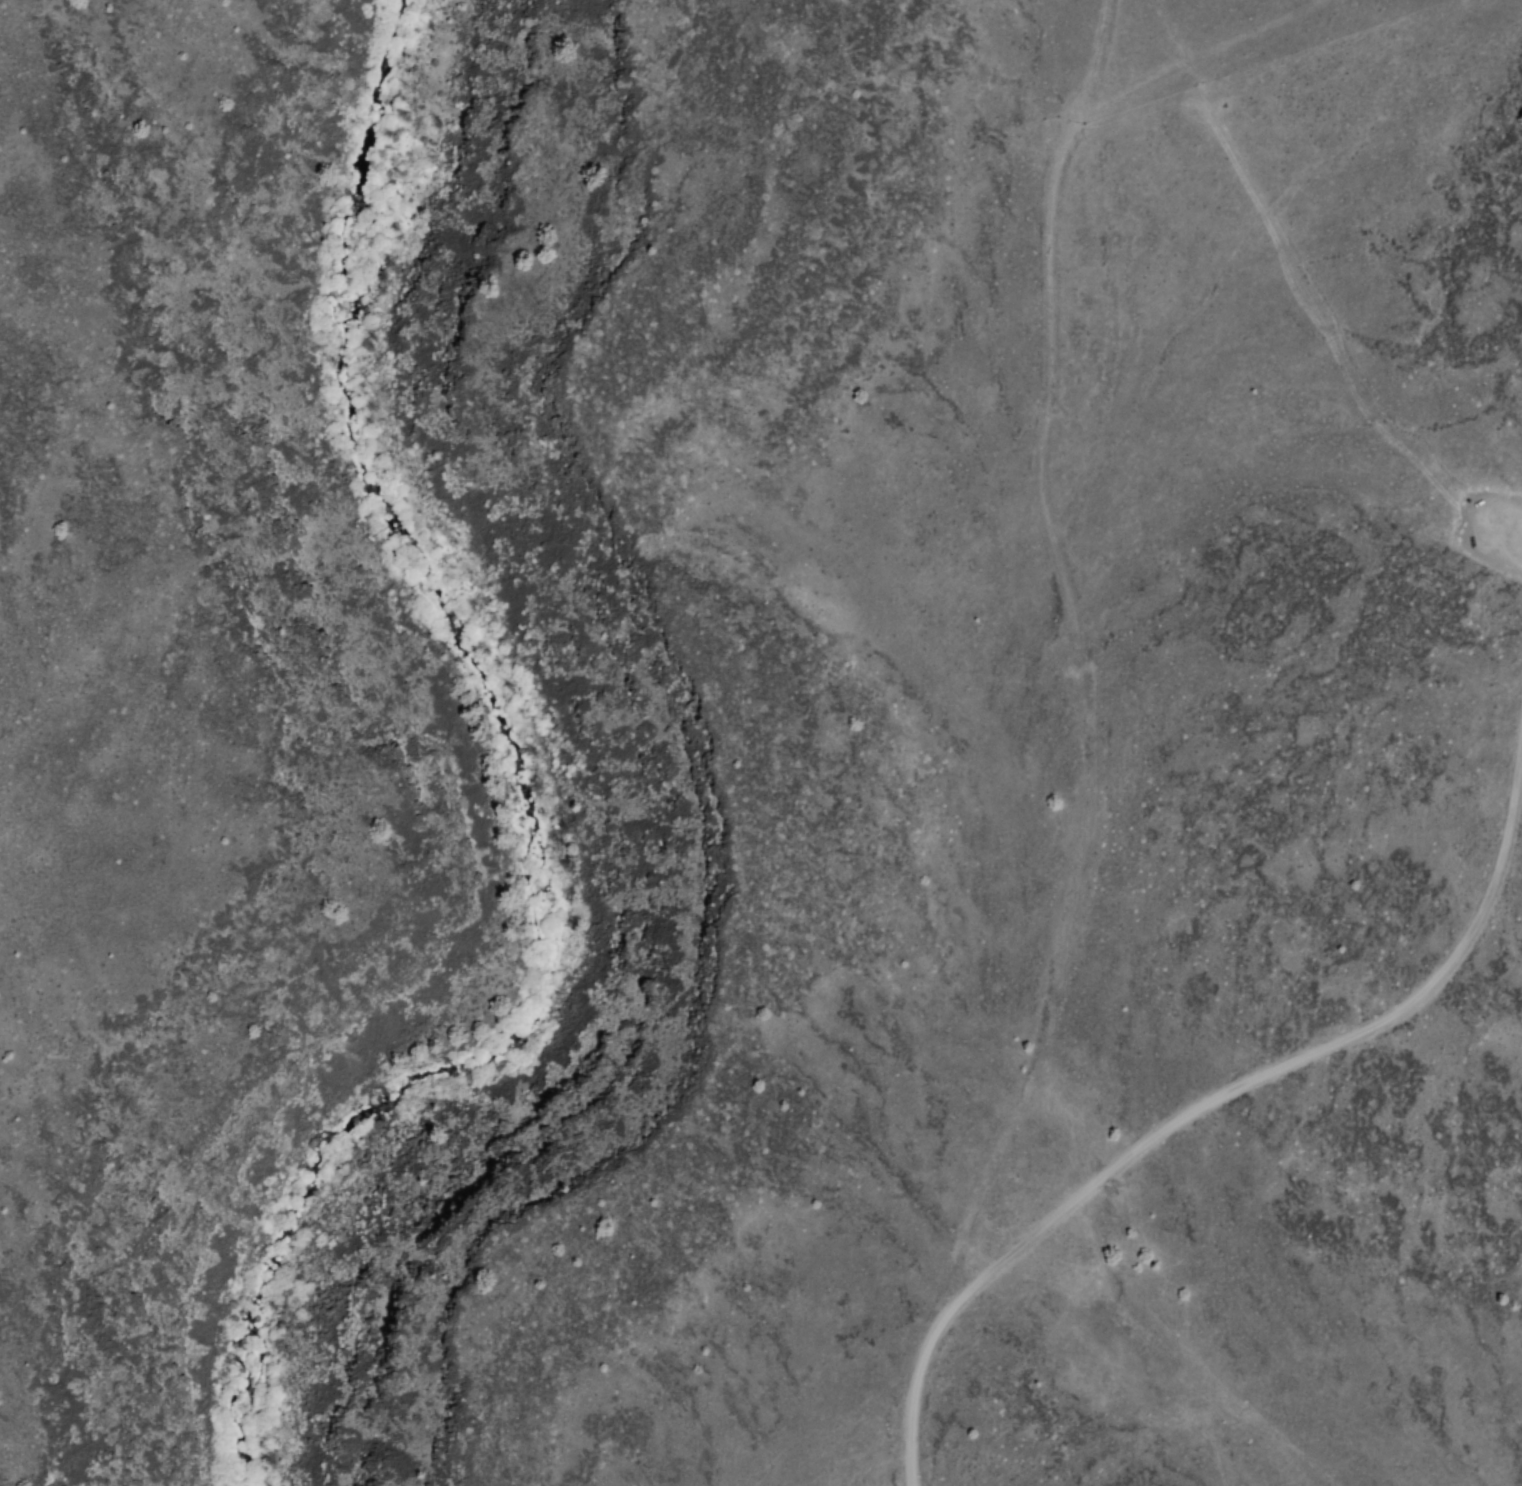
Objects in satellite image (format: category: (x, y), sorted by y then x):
road: (1203, 54)
road: (1094, 749)

